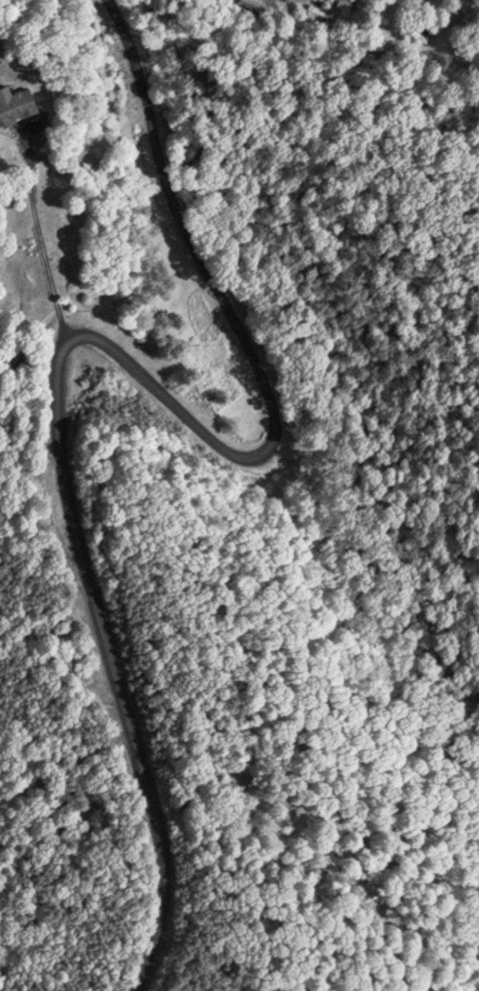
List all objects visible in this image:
building: (9, 100)
road: (90, 339)

